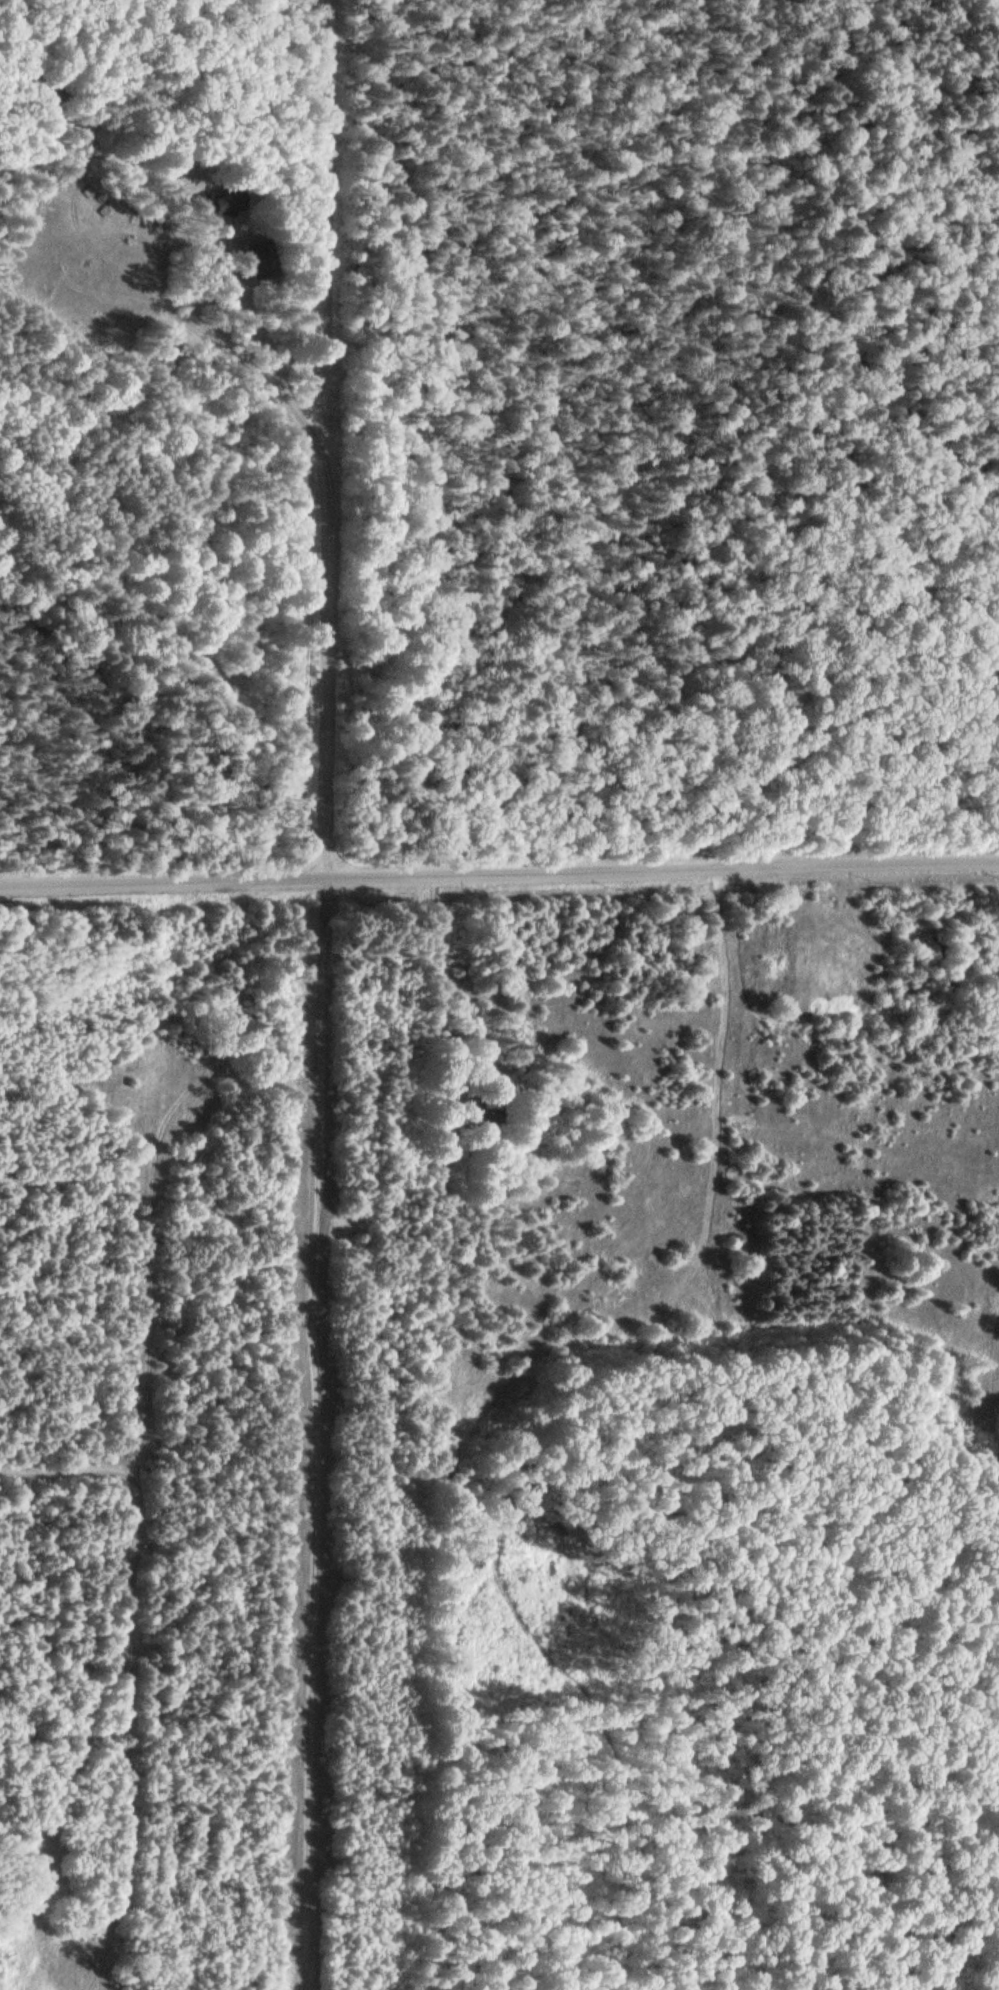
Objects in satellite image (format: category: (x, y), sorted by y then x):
building: (227, 199)
road: (499, 873)
building: (495, 1114)
building: (477, 1139)

